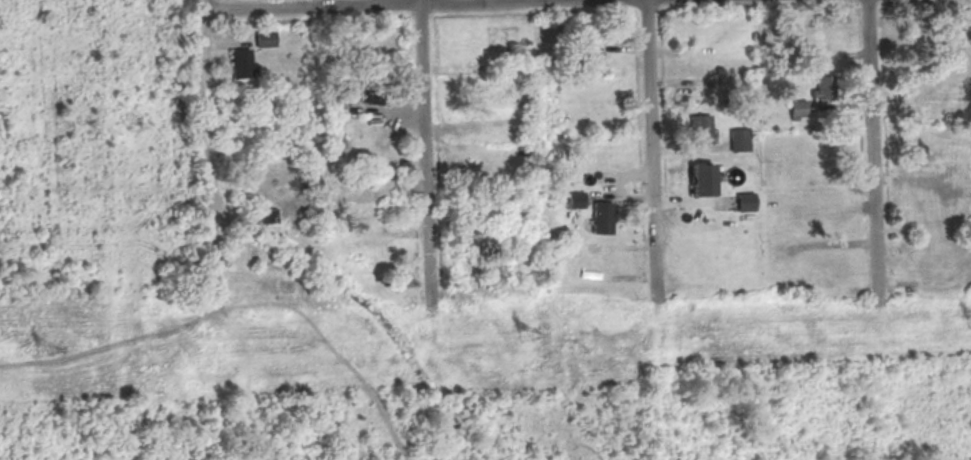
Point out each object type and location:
road: (366, 4)
building: (265, 38)
building: (592, 57)
building: (241, 63)
building: (826, 85)
building: (371, 96)
building: (339, 107)
building: (799, 108)
building: (476, 118)
building: (513, 121)
building: (700, 128)
building: (739, 138)
road: (201, 141)
road: (650, 152)
road: (871, 153)
road: (423, 154)
building: (700, 177)
building: (575, 197)
building: (744, 199)
building: (601, 215)
building: (267, 216)
power tower: (526, 335)
road: (112, 343)
road: (330, 346)
power tower: (42, 347)

